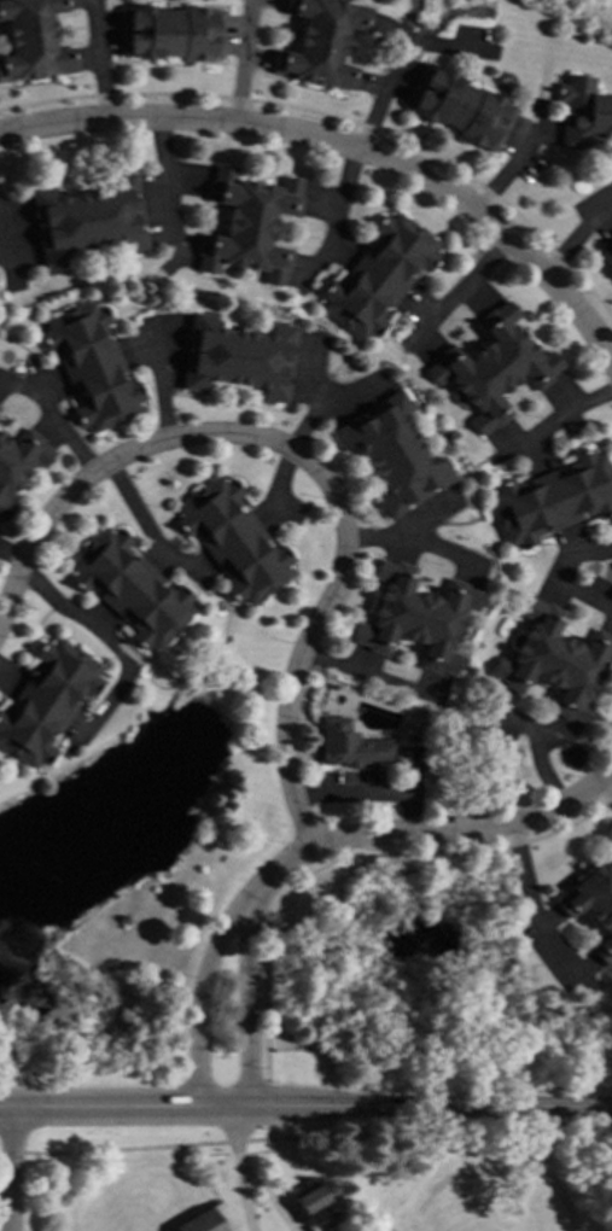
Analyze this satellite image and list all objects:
park: (591, 10)
building: (169, 31)
building: (33, 40)
building: (320, 41)
road: (98, 57)
road: (244, 58)
road: (404, 58)
building: (457, 107)
building: (582, 111)
road: (346, 140)
road: (511, 167)
road: (167, 183)
road: (334, 214)
building: (88, 218)
building: (247, 224)
road: (575, 235)
building: (607, 252)
road: (5, 255)
building: (378, 275)
road: (456, 291)
building: (237, 356)
building: (89, 366)
building: (491, 367)
road: (309, 374)
road: (162, 377)
road: (322, 402)
road: (52, 413)
road: (566, 416)
building: (391, 454)
building: (18, 462)
road: (308, 468)
road: (276, 485)
building: (552, 498)
road: (142, 526)
road: (396, 532)
building: (232, 539)
road: (8, 559)
road: (556, 573)
building: (129, 588)
building: (415, 615)
road: (103, 636)
building: (555, 660)
road: (366, 675)
building: (45, 701)
building: (348, 745)
road: (536, 748)
road: (606, 794)
road: (466, 829)
road: (263, 880)
building: (593, 903)
road: (531, 911)
road: (214, 1108)
road: (305, 1109)
road: (232, 1138)
road: (541, 1157)
road: (5, 1172)
road: (464, 1175)
park: (298, 1177)
road: (267, 1195)
road: (240, 1198)
building: (315, 1207)
building: (206, 1220)

